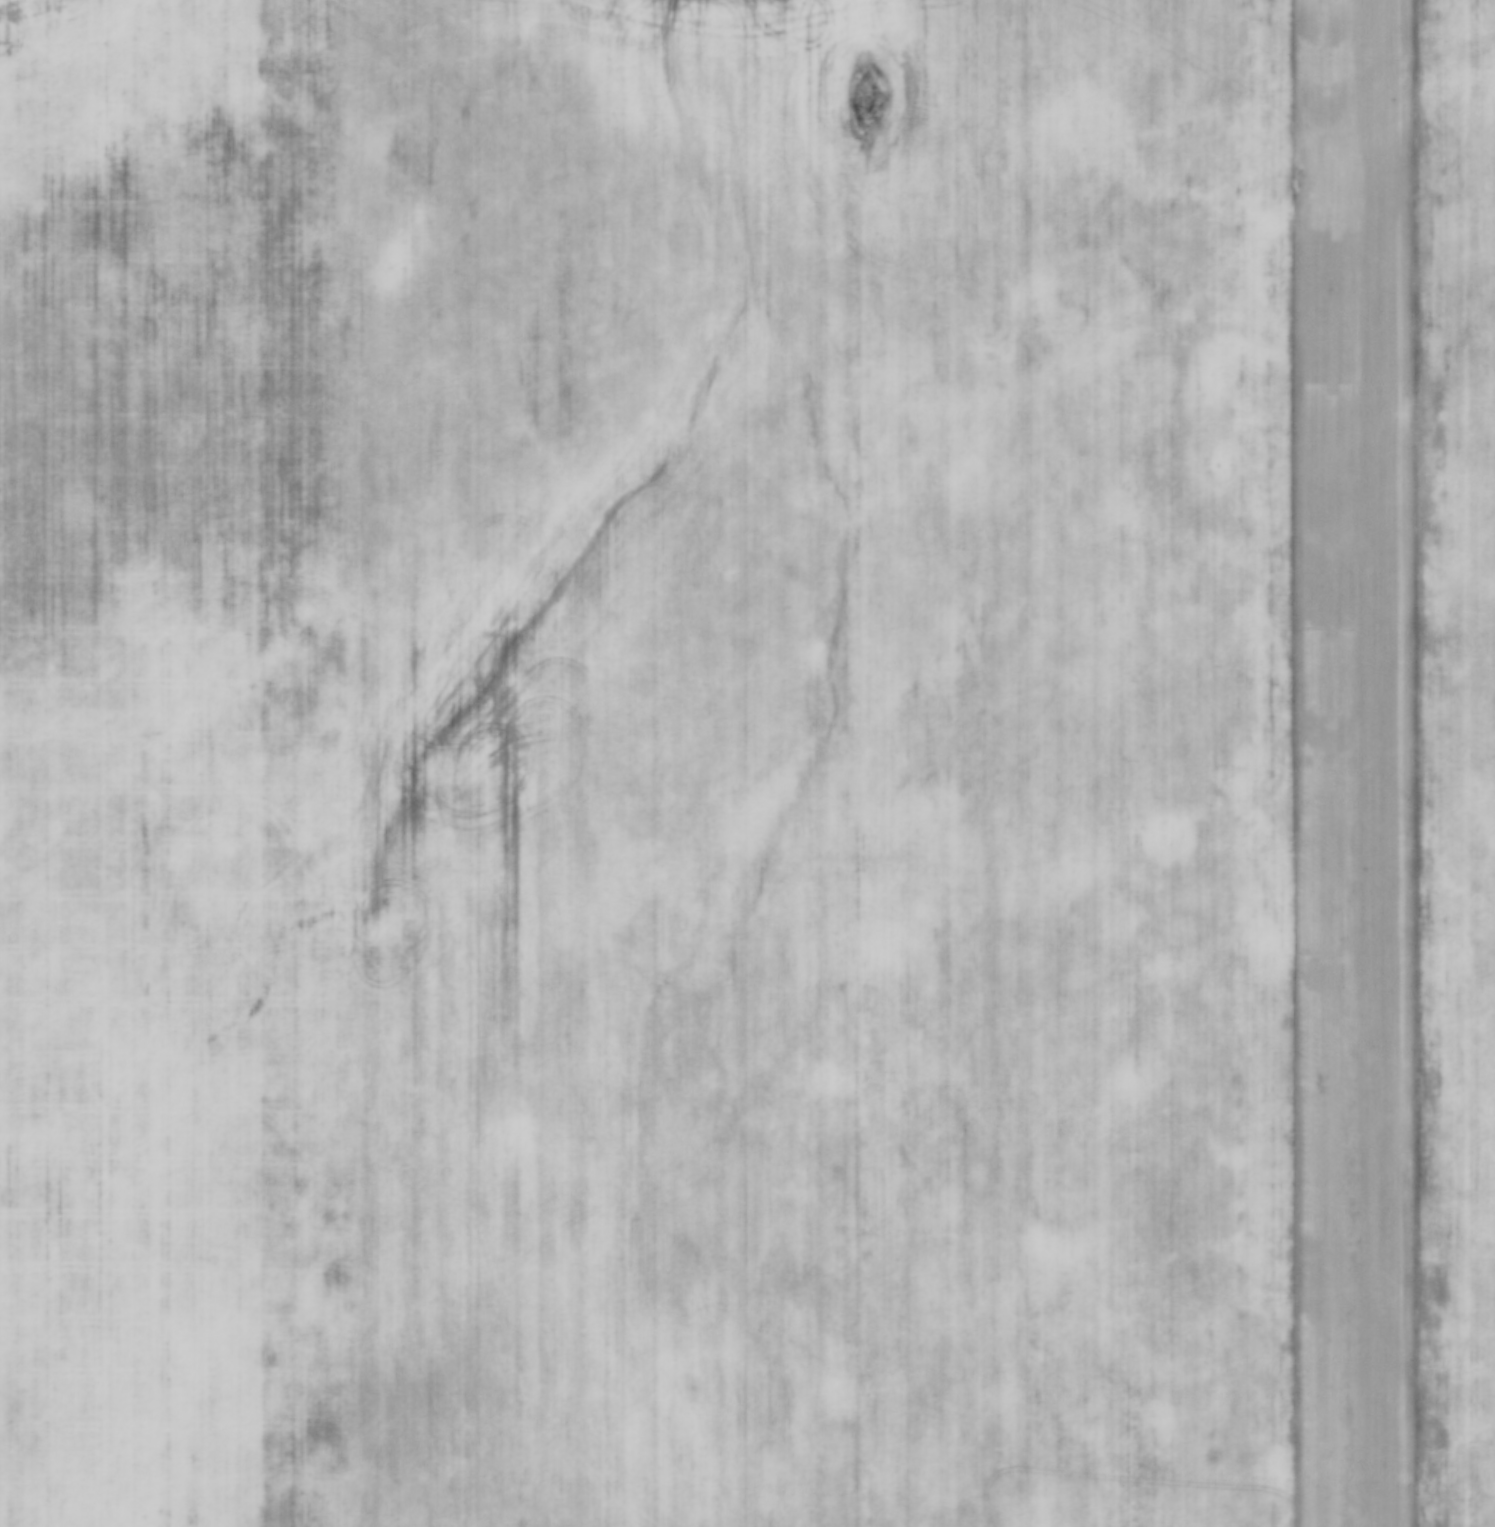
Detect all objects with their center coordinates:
airport runway: (1354, 763)

